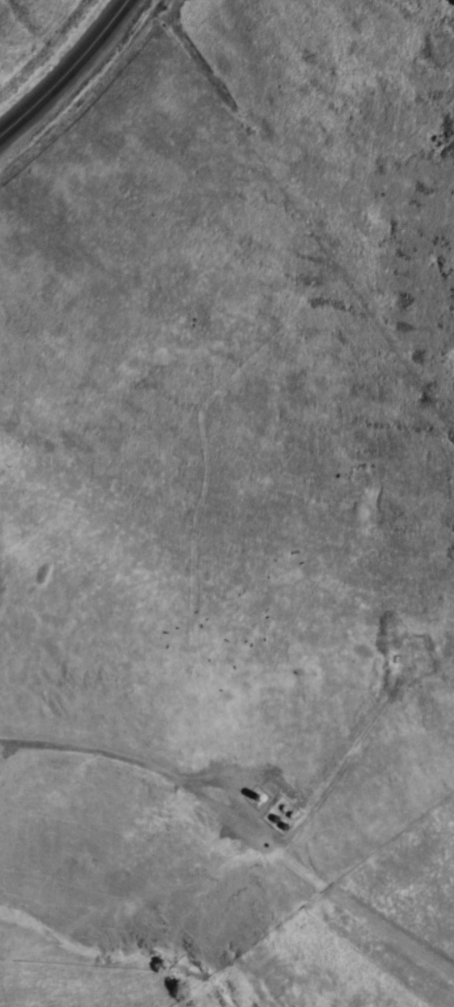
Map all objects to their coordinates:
road: (64, 70)
crop: (107, 648)

